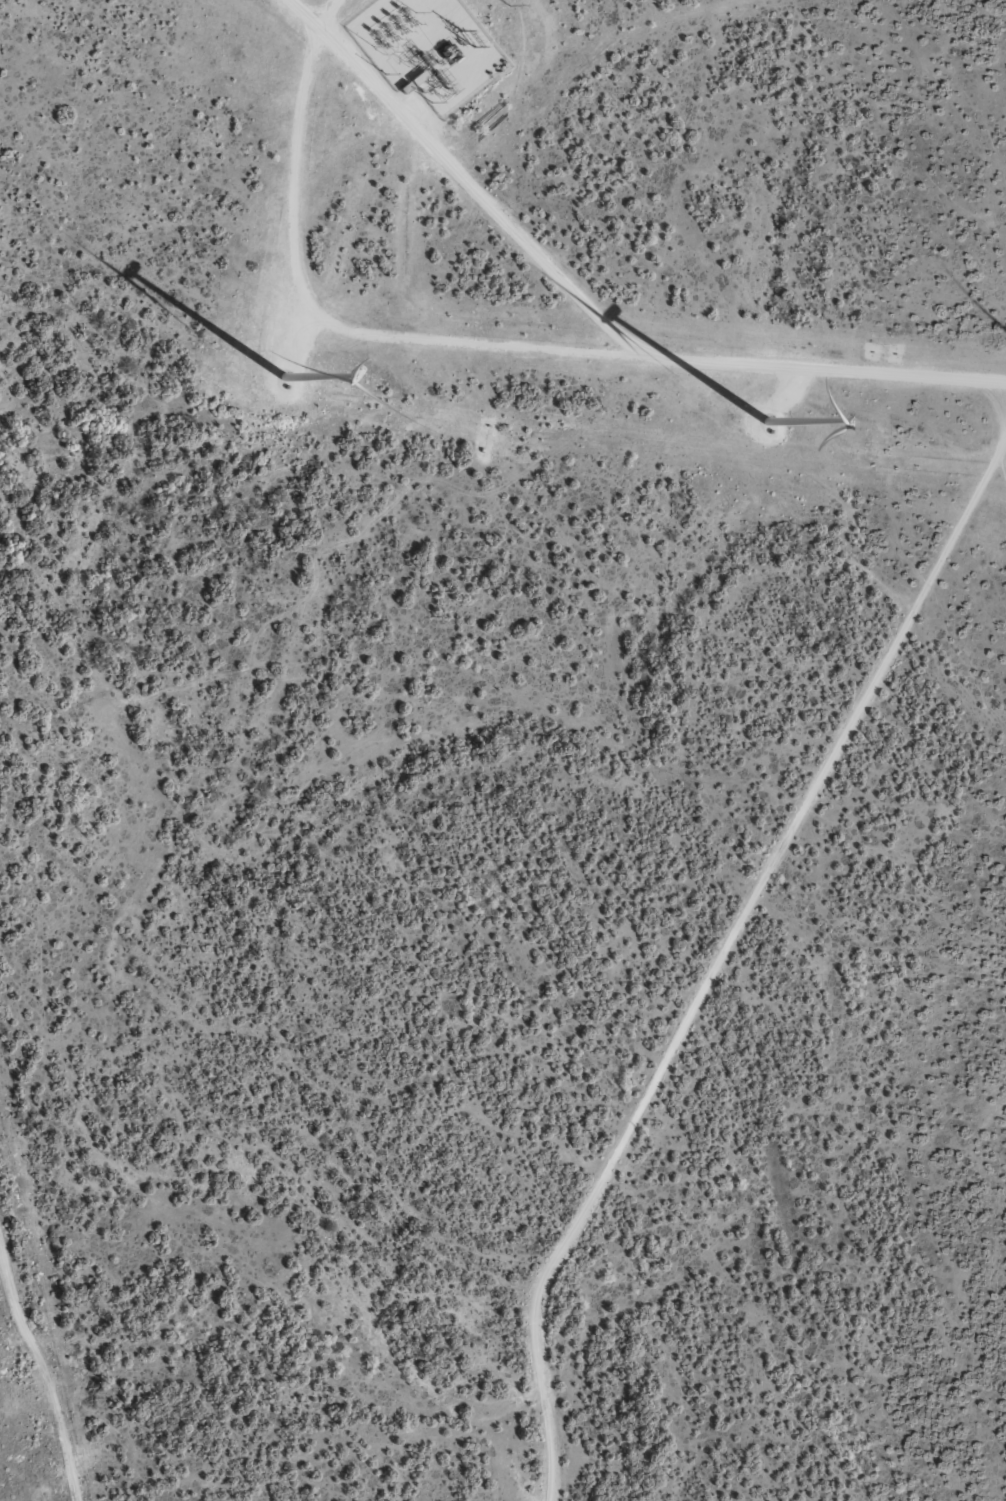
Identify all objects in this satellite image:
power tower: (509, 6)
power tower: (465, 38)
power substation: (427, 48)
wind turbine: (285, 373)
wind turbine: (790, 400)
road: (705, 989)
road: (30, 1386)
road: (22, 1483)

